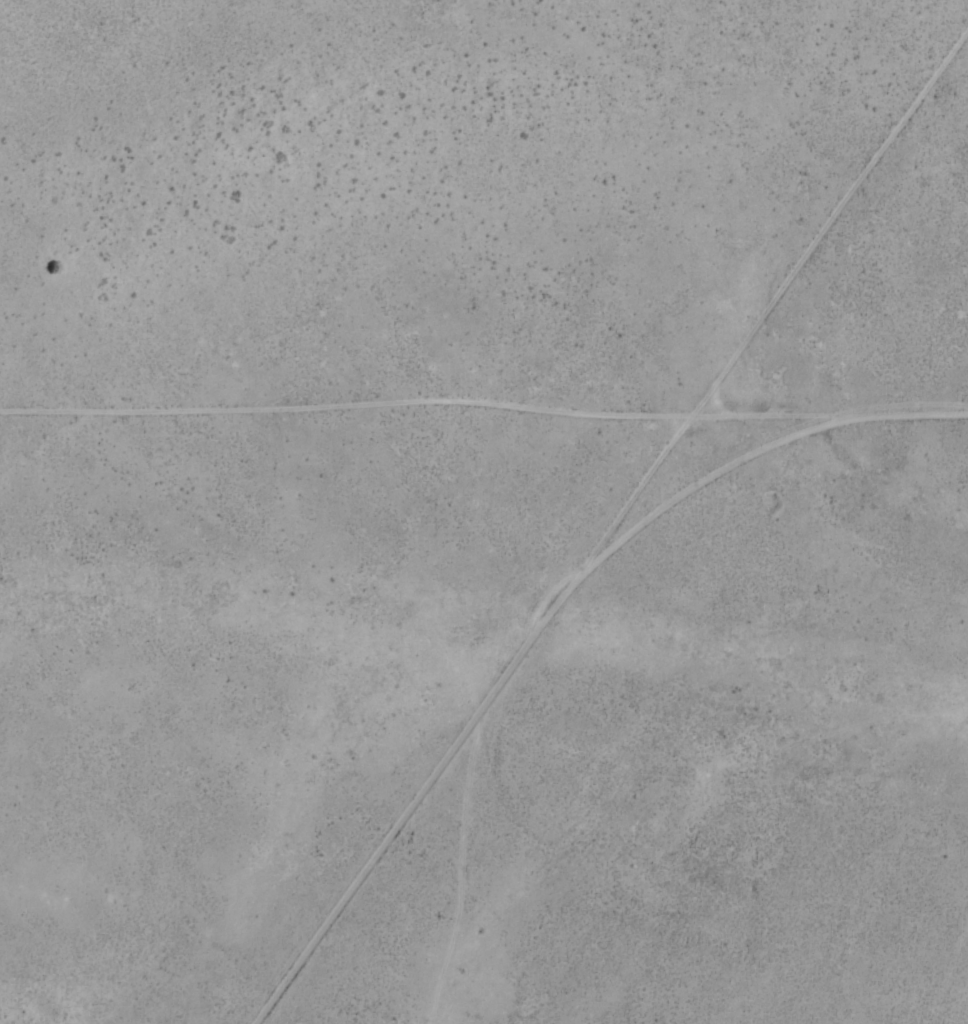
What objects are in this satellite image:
road: (485, 529)

